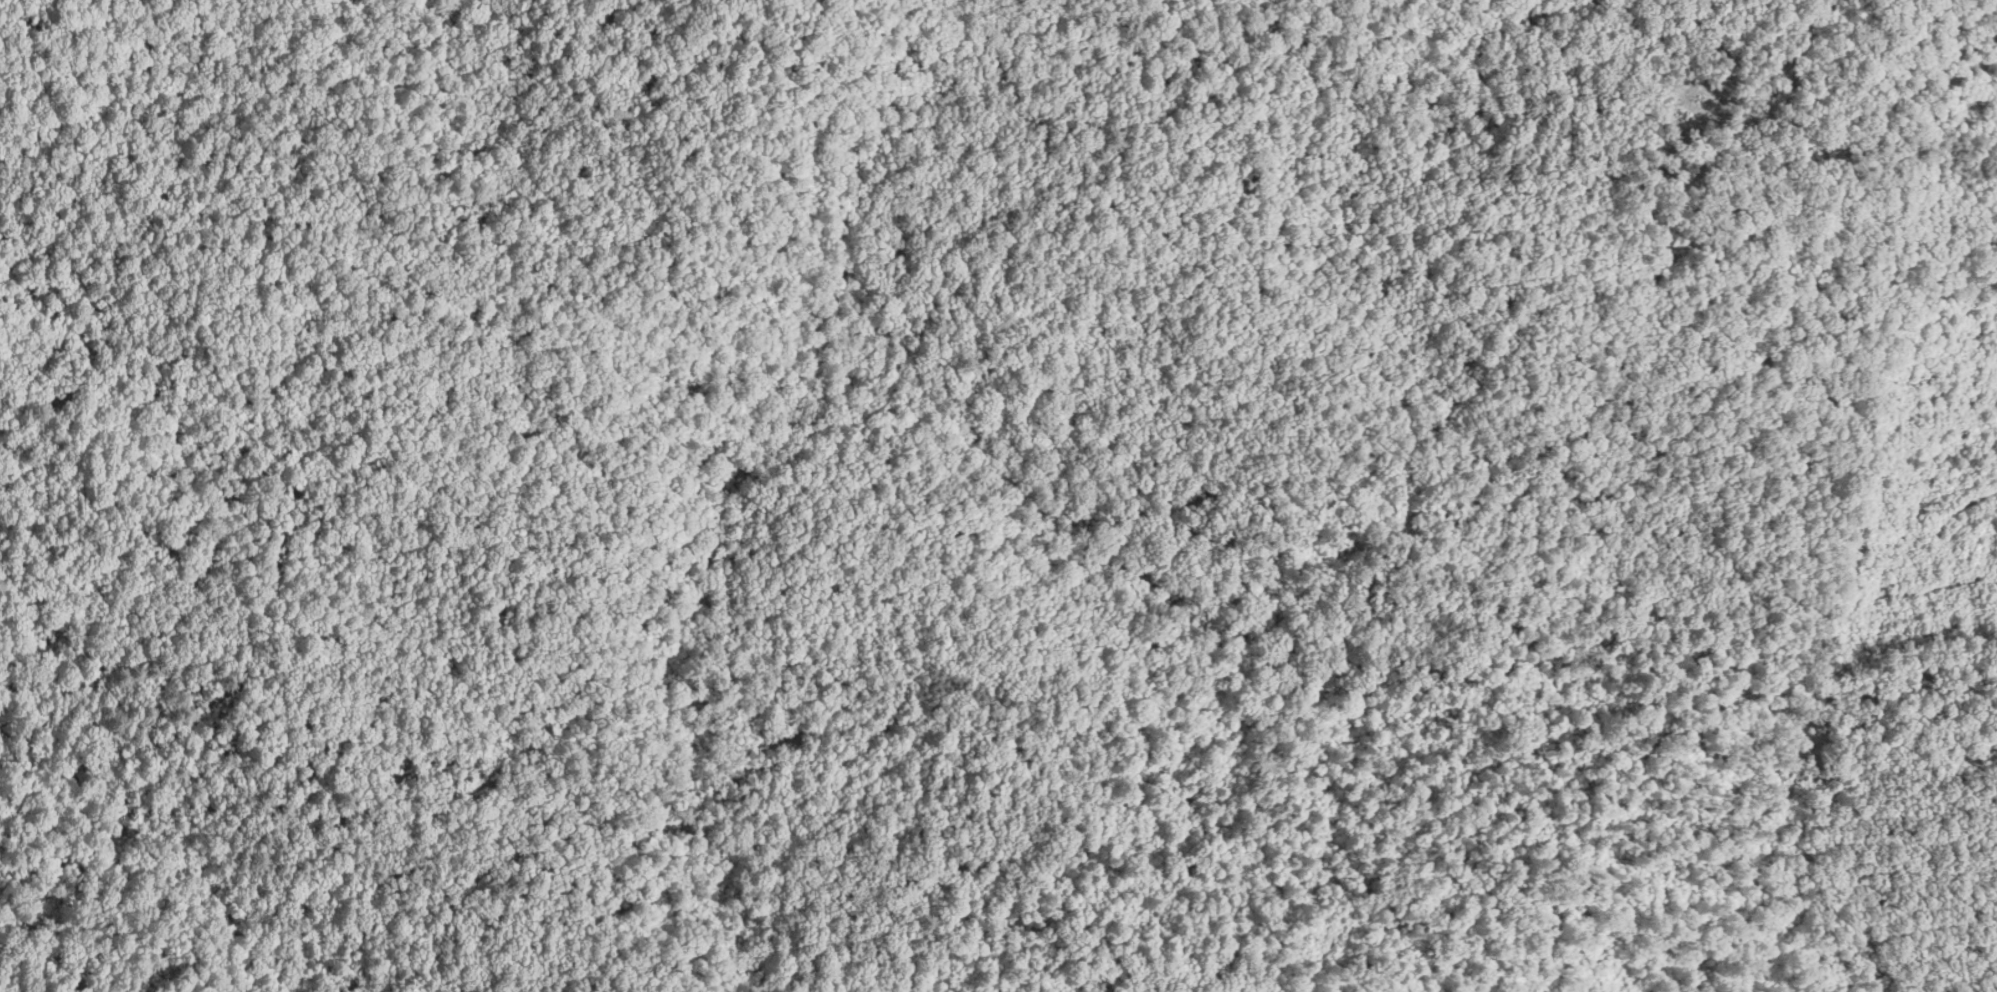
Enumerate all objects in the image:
road: (1945, 61)
road: (1806, 89)

